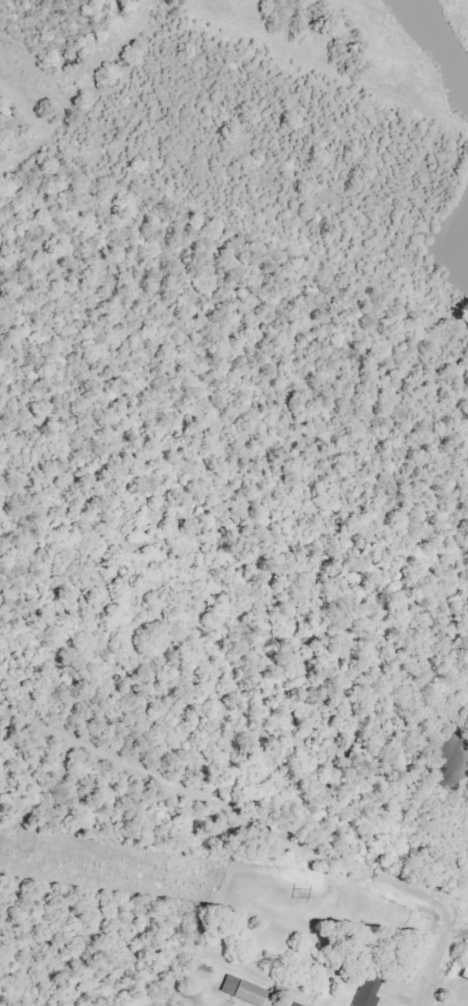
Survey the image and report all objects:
power tower: (290, 892)
building: (462, 967)
road: (424, 972)
building: (238, 990)
building: (363, 990)

